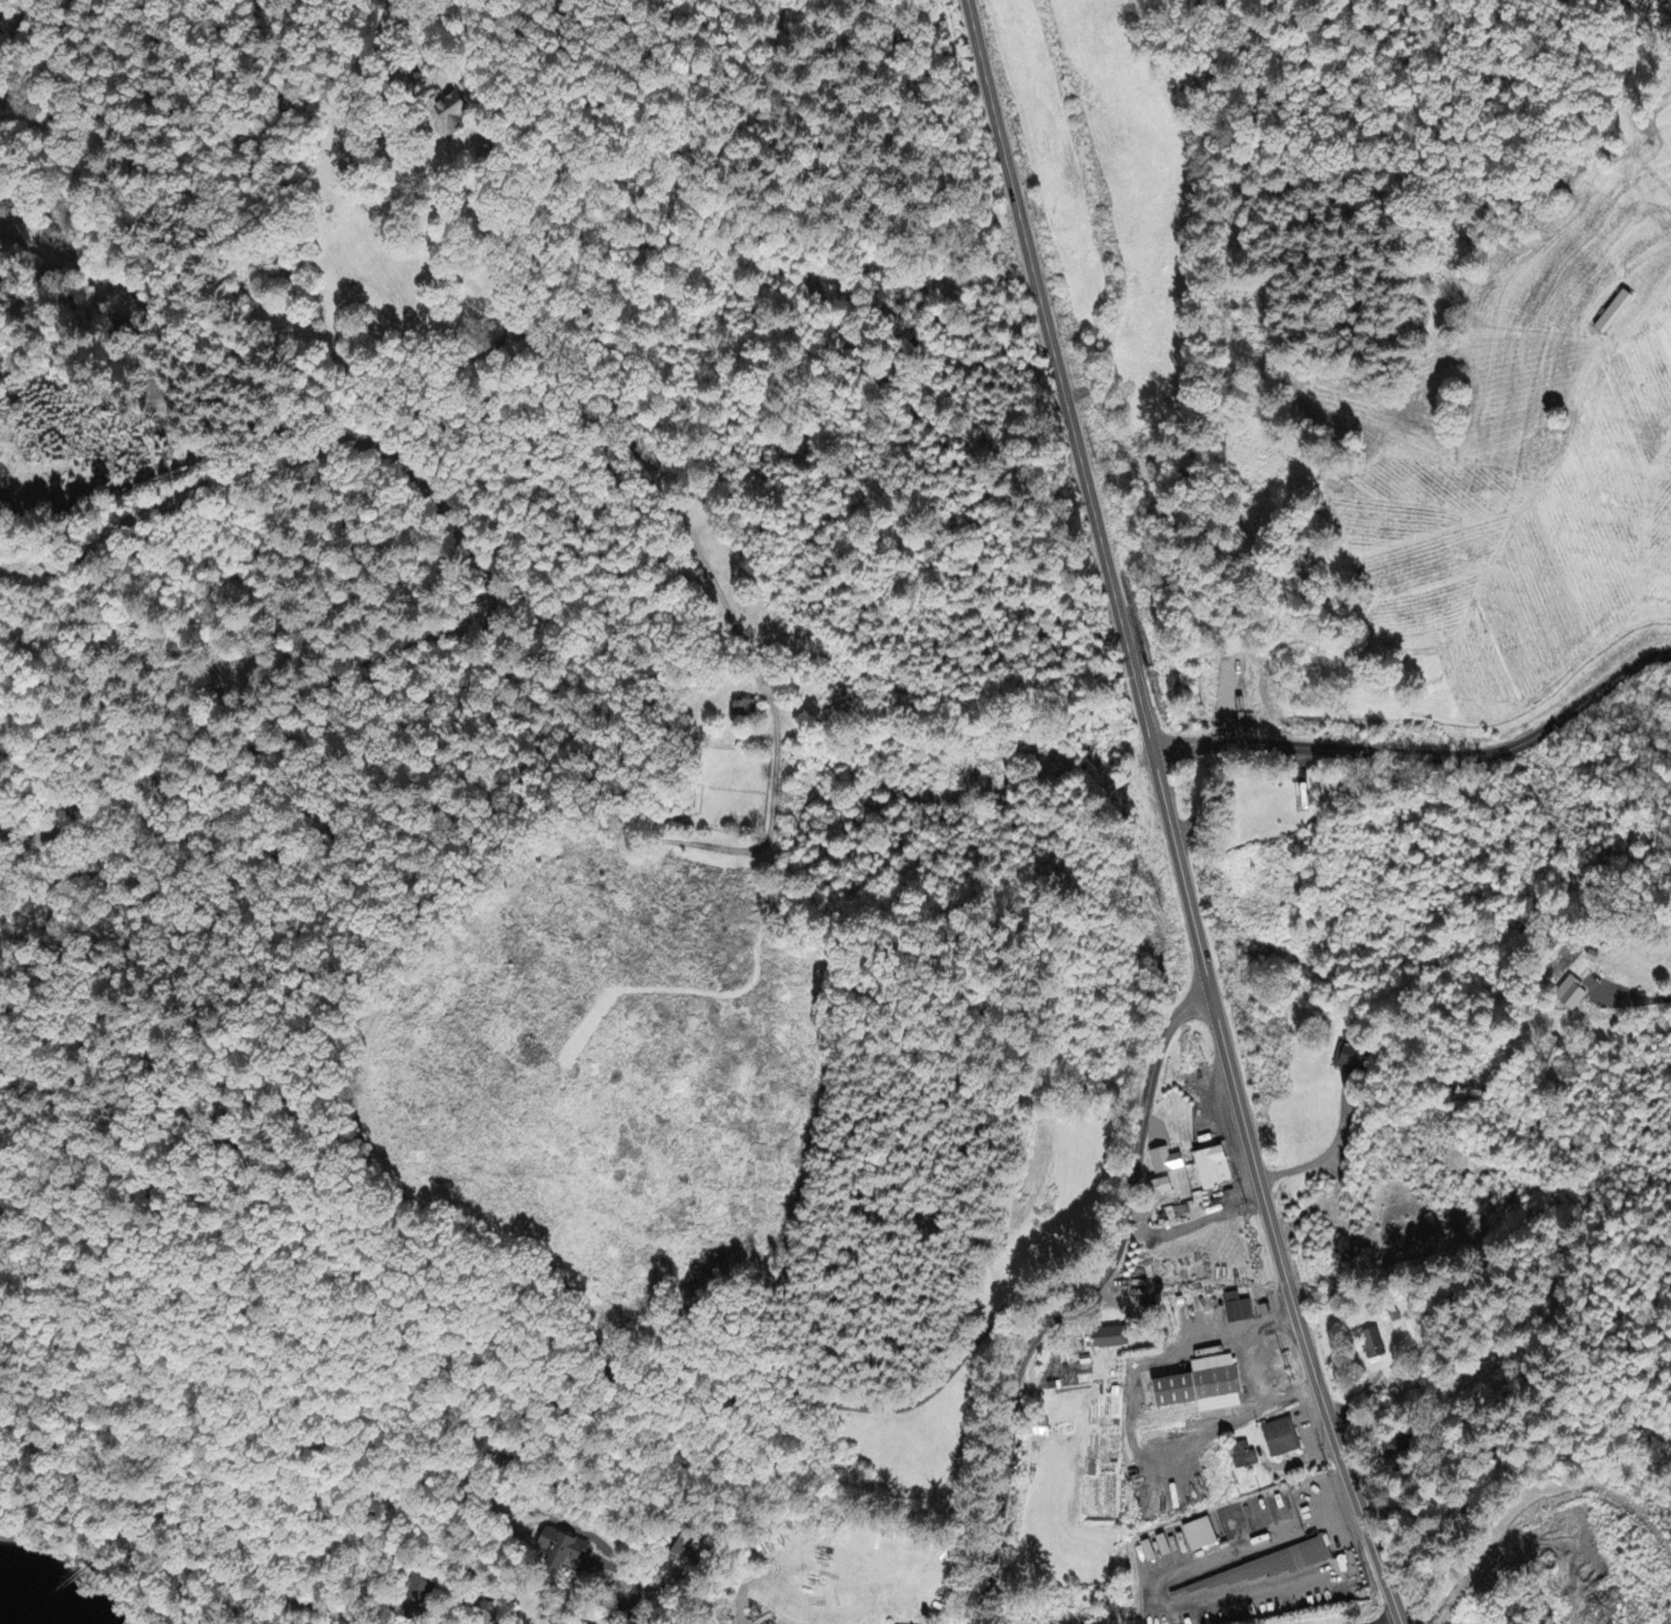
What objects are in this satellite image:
road: (1461, 1)
road: (1452, 3)
road: (1522, 59)
building: (451, 112)
road: (1469, 115)
road: (1034, 286)
building: (1617, 313)
building: (744, 710)
road: (1424, 757)
road: (1158, 778)
building: (1571, 996)
building: (1350, 1061)
road: (1251, 1156)
building: (1166, 1164)
building: (1213, 1170)
building: (1163, 1189)
road: (1080, 1303)
building: (1238, 1310)
building: (1111, 1338)
building: (1373, 1345)
building: (1204, 1388)
building: (1282, 1439)
building: (1396, 1446)
building: (1243, 1457)
road: (1346, 1474)
building: (1200, 1536)
road: (163, 1545)
building: (564, 1553)
building: (1267, 1568)
building: (414, 1599)
road: (604, 1606)
building: (491, 1615)
road: (1384, 1619)

